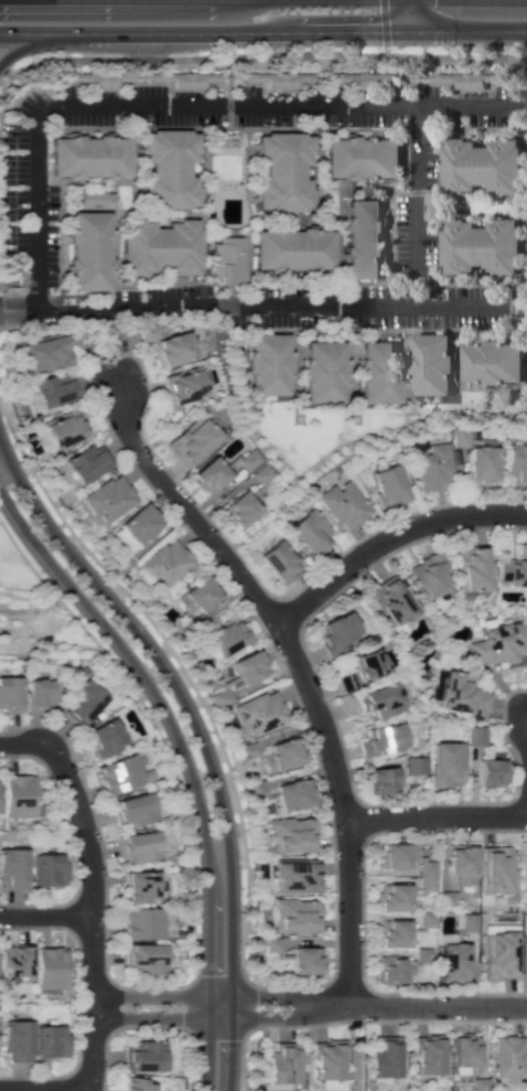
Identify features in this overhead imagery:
road: (409, 15)
road: (383, 28)
traffic signals: (409, 31)
road: (467, 31)
road: (204, 32)
road: (33, 43)
street lamp: (127, 55)
road: (455, 56)
road: (195, 57)
road: (4, 71)
building: (185, 79)
building: (273, 79)
building: (467, 79)
road: (226, 101)
road: (462, 101)
park: (525, 139)
building: (225, 143)
building: (363, 156)
building: (88, 157)
building: (488, 161)
building: (168, 167)
building: (280, 167)
building: (95, 200)
building: (366, 236)
building: (160, 246)
building: (290, 246)
building: (486, 246)
building: (89, 247)
building: (226, 258)
road: (249, 304)
building: (165, 344)
building: (45, 353)
building: (266, 359)
building: (438, 361)
building: (495, 361)
building: (323, 367)
building: (380, 368)
building: (182, 387)
building: (54, 389)
building: (63, 429)
building: (462, 438)
building: (193, 441)
building: (247, 460)
building: (87, 462)
building: (516, 464)
building: (480, 466)
building: (432, 469)
building: (261, 473)
building: (208, 475)
building: (386, 486)
building: (108, 498)
building: (342, 505)
building: (238, 510)
road: (190, 513)
road: (4, 514)
building: (139, 523)
building: (310, 533)
road: (388, 538)
building: (279, 561)
building: (165, 563)
building: (472, 568)
building: (513, 569)
building: (427, 576)
building: (195, 597)
building: (391, 605)
park: (34, 616)
building: (335, 633)
building: (226, 637)
building: (498, 644)
building: (248, 667)
building: (363, 668)
building: (9, 693)
building: (37, 694)
building: (461, 695)
building: (380, 700)
building: (82, 703)
building: (259, 712)
building: (474, 736)
building: (104, 738)
road: (200, 739)
building: (381, 740)
road: (20, 744)
building: (281, 755)
road: (185, 762)
building: (445, 763)
building: (490, 772)
building: (121, 774)
building: (380, 780)
building: (256, 789)
building: (292, 794)
building: (18, 796)
road: (344, 810)
building: (132, 811)
road: (437, 819)
building: (291, 835)
building: (137, 847)
building: (392, 865)
building: (460, 865)
building: (12, 868)
building: (524, 868)
building: (47, 869)
building: (496, 869)
building: (295, 877)
building: (140, 887)
building: (390, 897)
road: (89, 910)
road: (45, 917)
building: (295, 917)
building: (466, 922)
building: (141, 923)
building: (524, 923)
building: (391, 933)
building: (271, 944)
building: (498, 954)
building: (143, 959)
building: (14, 960)
building: (304, 961)
building: (452, 962)
building: (399, 966)
building: (50, 967)
road: (204, 996)
road: (421, 1005)
road: (204, 1017)
building: (15, 1040)
building: (49, 1041)
road: (356, 1048)
building: (464, 1052)
building: (427, 1055)
building: (143, 1056)
park: (355, 1057)
building: (384, 1057)
building: (509, 1058)
building: (326, 1059)
building: (282, 1063)
park: (191, 1074)
building: (135, 1084)
road: (44, 1090)

